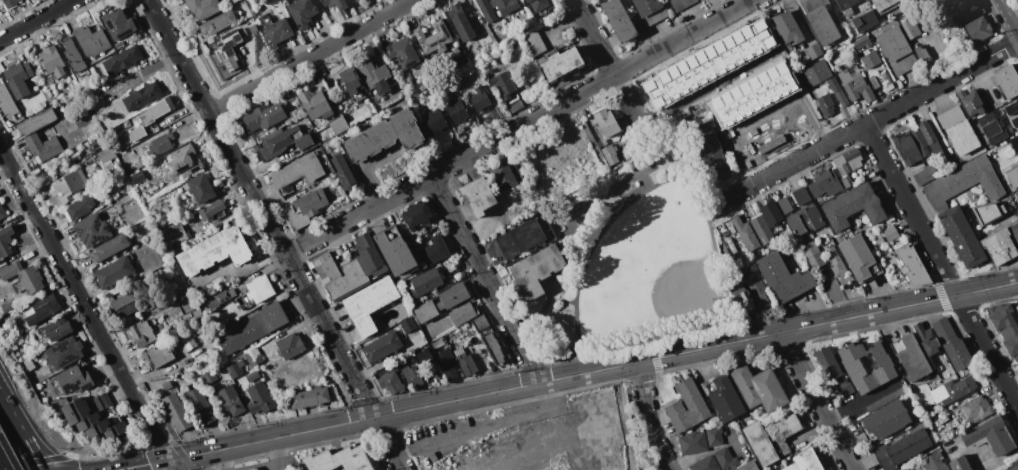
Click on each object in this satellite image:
building: (235, 1)
road: (574, 2)
building: (538, 3)
building: (936, 3)
building: (9, 4)
building: (335, 4)
building: (681, 4)
building: (846, 5)
building: (885, 5)
building: (203, 8)
building: (651, 10)
building: (488, 12)
building: (303, 13)
road: (1009, 15)
road: (37, 20)
building: (619, 20)
building: (865, 21)
building: (218, 22)
building: (460, 22)
building: (824, 23)
building: (120, 24)
building: (978, 26)
building: (787, 27)
building: (252, 28)
building: (910, 28)
building: (276, 29)
building: (242, 32)
building: (433, 37)
building: (92, 41)
building: (534, 41)
building: (862, 43)
building: (119, 44)
road: (777, 46)
building: (227, 49)
road: (778, 50)
building: (814, 50)
building: (896, 50)
building: (402, 51)
building: (922, 54)
building: (73, 56)
road: (310, 56)
building: (124, 58)
building: (870, 59)
building: (52, 61)
road: (606, 61)
building: (707, 63)
building: (560, 64)
building: (816, 73)
building: (374, 74)
building: (19, 78)
building: (48, 80)
building: (351, 80)
building: (874, 81)
building: (1007, 81)
building: (503, 84)
building: (855, 85)
building: (888, 87)
road: (708, 88)
building: (837, 91)
road: (197, 92)
building: (752, 94)
building: (142, 96)
building: (479, 99)
road: (787, 99)
building: (6, 101)
building: (824, 101)
building: (970, 102)
building: (315, 103)
building: (514, 105)
building: (1011, 107)
building: (156, 111)
building: (456, 111)
building: (264, 116)
building: (38, 121)
building: (1014, 121)
building: (435, 122)
building: (606, 122)
road: (867, 122)
building: (339, 125)
road: (680, 125)
road: (519, 127)
building: (992, 128)
building: (957, 130)
building: (137, 133)
road: (724, 133)
building: (769, 134)
building: (385, 136)
road: (725, 138)
building: (930, 138)
building: (283, 141)
building: (1014, 142)
building: (601, 143)
building: (161, 144)
building: (911, 146)
building: (43, 147)
building: (709, 147)
road: (648, 151)
building: (610, 153)
building: (106, 154)
building: (949, 159)
building: (185, 161)
building: (848, 161)
building: (108, 167)
building: (663, 168)
building: (342, 171)
building: (297, 172)
building: (503, 174)
building: (925, 174)
building: (1013, 175)
building: (138, 176)
building: (964, 182)
building: (846, 183)
building: (69, 184)
building: (824, 184)
road: (656, 186)
building: (201, 189)
road: (606, 191)
building: (1016, 193)
road: (621, 195)
building: (478, 196)
building: (801, 196)
building: (784, 205)
road: (711, 206)
building: (852, 207)
building: (79, 208)
building: (211, 209)
building: (304, 209)
building: (2, 211)
building: (417, 214)
building: (986, 215)
building: (805, 221)
building: (767, 222)
building: (91, 230)
building: (1015, 231)
building: (891, 233)
building: (174, 234)
building: (744, 234)
building: (962, 237)
building: (520, 238)
building: (6, 240)
building: (879, 240)
building: (732, 245)
building: (999, 246)
building: (110, 247)
building: (395, 250)
building: (492, 250)
building: (215, 251)
building: (434, 251)
park: (638, 252)
building: (813, 254)
building: (859, 258)
building: (834, 260)
park: (654, 265)
building: (911, 265)
road: (941, 266)
building: (352, 267)
building: (537, 270)
building: (114, 271)
building: (23, 277)
building: (783, 278)
road: (484, 279)
building: (426, 282)
building: (259, 289)
building: (759, 292)
building: (189, 296)
building: (453, 296)
building: (221, 297)
building: (741, 297)
road: (82, 304)
building: (125, 304)
building: (370, 304)
building: (8, 307)
building: (44, 308)
building: (531, 308)
building: (425, 311)
building: (462, 313)
building: (273, 316)
building: (480, 322)
building: (408, 324)
road: (324, 327)
building: (58, 328)
building: (1005, 328)
building: (145, 333)
building: (242, 333)
building: (927, 338)
building: (952, 343)
building: (290, 345)
building: (381, 347)
building: (494, 347)
road: (696, 349)
building: (64, 352)
building: (159, 354)
building: (253, 356)
building: (911, 357)
building: (426, 360)
building: (447, 362)
building: (465, 362)
building: (28, 363)
building: (828, 363)
building: (852, 365)
building: (235, 370)
building: (210, 376)
building: (411, 376)
building: (74, 380)
building: (387, 380)
building: (285, 381)
building: (758, 388)
building: (845, 388)
building: (953, 389)
building: (723, 396)
building: (310, 398)
building: (259, 399)
building: (886, 399)
building: (103, 401)
building: (232, 401)
road: (814, 401)
building: (687, 405)
building: (200, 406)
building: (975, 409)
building: (75, 411)
building: (176, 412)
road: (648, 417)
building: (889, 417)
building: (921, 417)
building: (88, 421)
building: (77, 423)
road: (25, 426)
road: (481, 426)
building: (98, 428)
parking lot: (472, 428)
building: (116, 430)
building: (951, 431)
road: (296, 432)
building: (990, 436)
building: (757, 439)
building: (700, 440)
building: (945, 444)
building: (901, 449)
road: (276, 454)
road: (290, 454)
road: (192, 455)
road: (221, 459)
traffic signals: (165, 460)
building: (339, 460)
building: (716, 461)
building: (805, 461)
building: (933, 462)
gas station: (269, 463)
building: (958, 463)
road: (143, 464)
road: (168, 465)
building: (748, 466)
building: (1014, 466)
road: (142, 467)
building: (250, 468)
road: (267, 468)
road: (119, 469)
road: (122, 469)
building: (904, 469)

